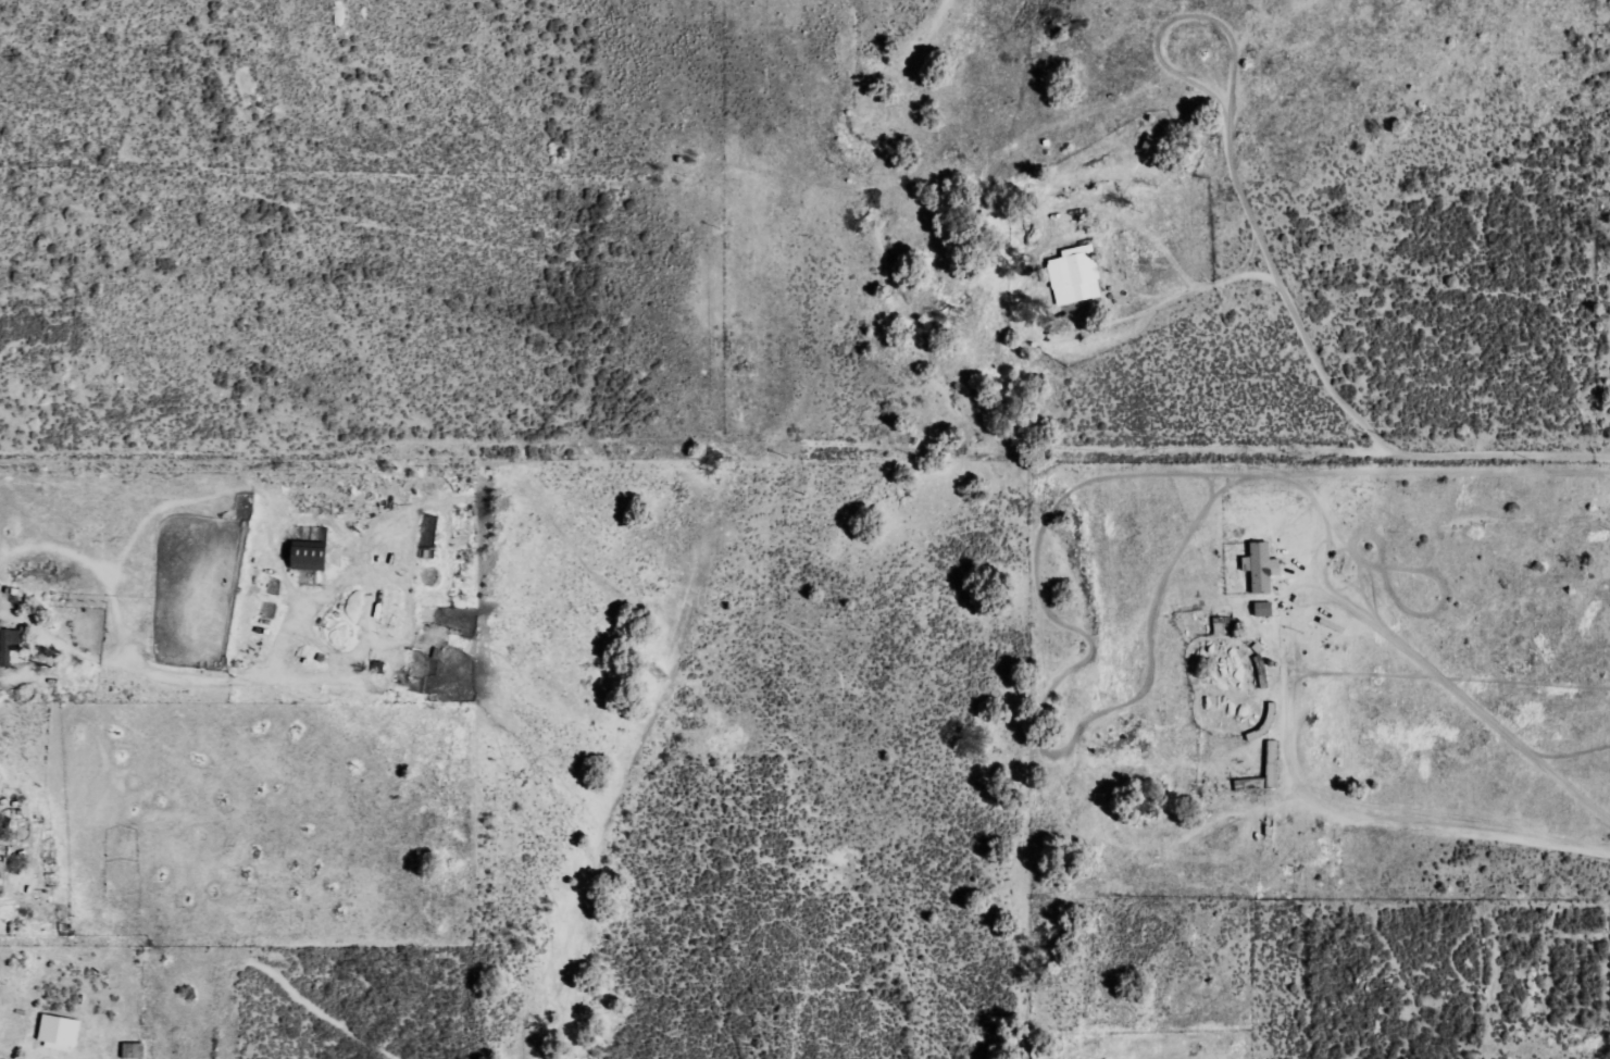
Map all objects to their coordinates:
road: (1518, 231)
building: (1075, 275)
road: (804, 463)
building: (308, 556)
building: (1261, 566)
building: (1263, 609)
building: (9, 644)
building: (1272, 760)
building: (59, 1032)

